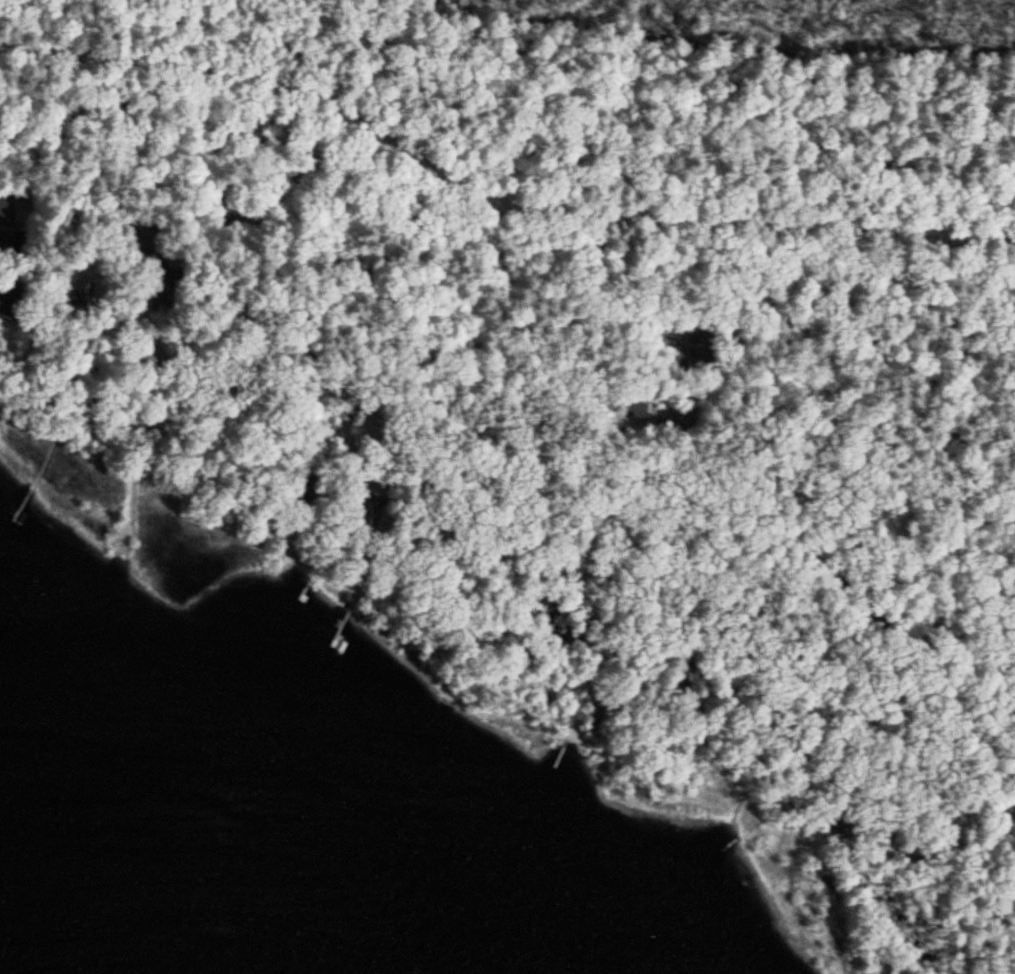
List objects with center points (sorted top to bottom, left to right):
road: (494, 233)
road: (986, 336)
building: (696, 345)
building: (626, 399)
building: (303, 492)
building: (364, 508)
road: (736, 617)

